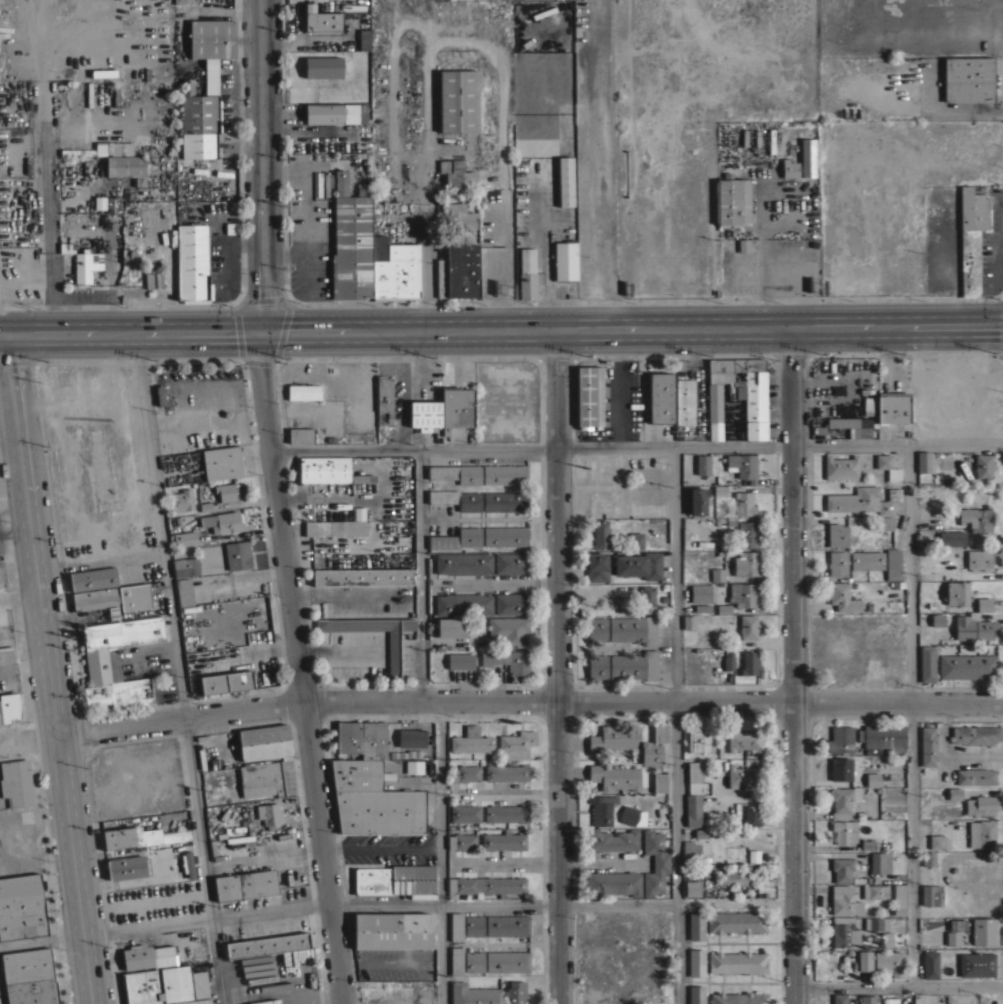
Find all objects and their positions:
building: (183, 1)
building: (323, 21)
building: (212, 38)
building: (361, 38)
building: (325, 69)
building: (211, 76)
building: (968, 79)
building: (89, 93)
building: (116, 94)
building: (458, 100)
building: (198, 110)
building: (335, 113)
building: (198, 145)
building: (114, 148)
building: (76, 152)
building: (807, 158)
road: (605, 164)
building: (126, 167)
building: (789, 169)
building: (457, 174)
road: (52, 181)
building: (565, 181)
building: (377, 196)
road: (425, 198)
building: (733, 202)
building: (112, 204)
building: (457, 216)
building: (971, 237)
building: (66, 247)
building: (368, 253)
road: (765, 256)
building: (526, 259)
building: (565, 260)
building: (193, 263)
building: (84, 265)
building: (458, 272)
building: (152, 277)
building: (527, 286)
road: (501, 329)
road: (845, 388)
building: (303, 391)
building: (740, 392)
building: (589, 395)
building: (661, 397)
building: (384, 400)
building: (684, 401)
building: (456, 408)
building: (893, 409)
building: (425, 413)
building: (861, 430)
building: (301, 434)
road: (635, 443)
building: (221, 462)
building: (924, 462)
building: (706, 464)
building: (743, 466)
building: (888, 466)
building: (983, 466)
building: (841, 467)
building: (328, 470)
building: (456, 473)
building: (504, 474)
building: (719, 489)
building: (226, 491)
building: (456, 499)
building: (181, 500)
building: (698, 500)
building: (505, 501)
road: (275, 503)
building: (745, 503)
building: (866, 503)
building: (977, 518)
building: (222, 521)
building: (340, 528)
building: (600, 534)
building: (748, 535)
building: (837, 535)
building: (505, 536)
building: (183, 538)
building: (951, 538)
building: (456, 539)
building: (635, 540)
building: (237, 555)
building: (979, 559)
building: (867, 560)
building: (463, 563)
building: (511, 563)
building: (746, 563)
building: (837, 563)
building: (893, 564)
building: (639, 565)
building: (185, 566)
building: (597, 566)
road: (420, 574)
building: (717, 574)
building: (363, 576)
building: (92, 578)
road: (19, 591)
building: (184, 591)
building: (700, 593)
building: (956, 593)
building: (113, 597)
building: (842, 597)
building: (648, 598)
building: (740, 598)
building: (511, 603)
building: (463, 604)
building: (984, 604)
building: (702, 608)
building: (113, 613)
building: (937, 619)
building: (689, 622)
building: (748, 626)
building: (451, 627)
building: (974, 627)
building: (597, 629)
building: (634, 629)
building: (509, 630)
building: (4, 654)
building: (393, 654)
building: (506, 659)
building: (728, 660)
building: (117, 661)
building: (460, 661)
building: (749, 663)
building: (927, 664)
building: (634, 665)
road: (558, 666)
building: (597, 666)
road: (792, 666)
building: (967, 666)
road: (25, 669)
road: (179, 669)
road: (51, 671)
building: (226, 681)
road: (499, 702)
building: (8, 707)
road: (912, 712)
road: (676, 723)
building: (660, 732)
building: (976, 735)
building: (883, 736)
building: (411, 738)
building: (615, 738)
building: (362, 739)
building: (744, 739)
building: (840, 739)
building: (472, 740)
building: (698, 740)
building: (264, 742)
building: (517, 744)
building: (928, 746)
building: (651, 753)
road: (947, 756)
building: (506, 772)
building: (464, 773)
building: (744, 775)
building: (976, 776)
building: (615, 777)
building: (263, 779)
building: (873, 779)
building: (16, 782)
building: (660, 782)
road: (508, 792)
building: (955, 793)
building: (693, 794)
building: (845, 794)
building: (373, 800)
building: (981, 805)
building: (602, 808)
building: (464, 813)
building: (507, 813)
building: (270, 814)
building: (644, 815)
building: (752, 815)
building: (844, 831)
building: (698, 833)
building: (987, 834)
building: (140, 836)
building: (504, 840)
building: (612, 840)
building: (462, 841)
building: (938, 842)
building: (868, 845)
road: (381, 848)
building: (690, 850)
road: (441, 853)
building: (753, 855)
building: (929, 858)
building: (654, 862)
building: (880, 862)
road: (550, 863)
building: (128, 866)
building: (842, 869)
building: (732, 876)
building: (396, 880)
building: (613, 883)
building: (245, 884)
building: (486, 885)
building: (692, 888)
building: (875, 891)
building: (932, 895)
building: (899, 898)
road: (436, 901)
building: (845, 901)
building: (22, 907)
building: (735, 921)
building: (879, 922)
building: (474, 925)
building: (507, 925)
building: (696, 925)
building: (457, 926)
building: (393, 931)
building: (844, 931)
building: (984, 931)
building: (953, 937)
building: (887, 938)
building: (267, 945)
building: (147, 956)
building: (457, 960)
building: (474, 961)
building: (508, 961)
building: (882, 961)
building: (696, 962)
building: (737, 962)
building: (930, 964)
building: (977, 964)
building: (29, 977)
building: (164, 985)
road: (898, 985)
building: (516, 992)
building: (388, 993)
building: (473, 994)
building: (696, 994)
building: (738, 998)
building: (840, 998)
building: (868, 999)

